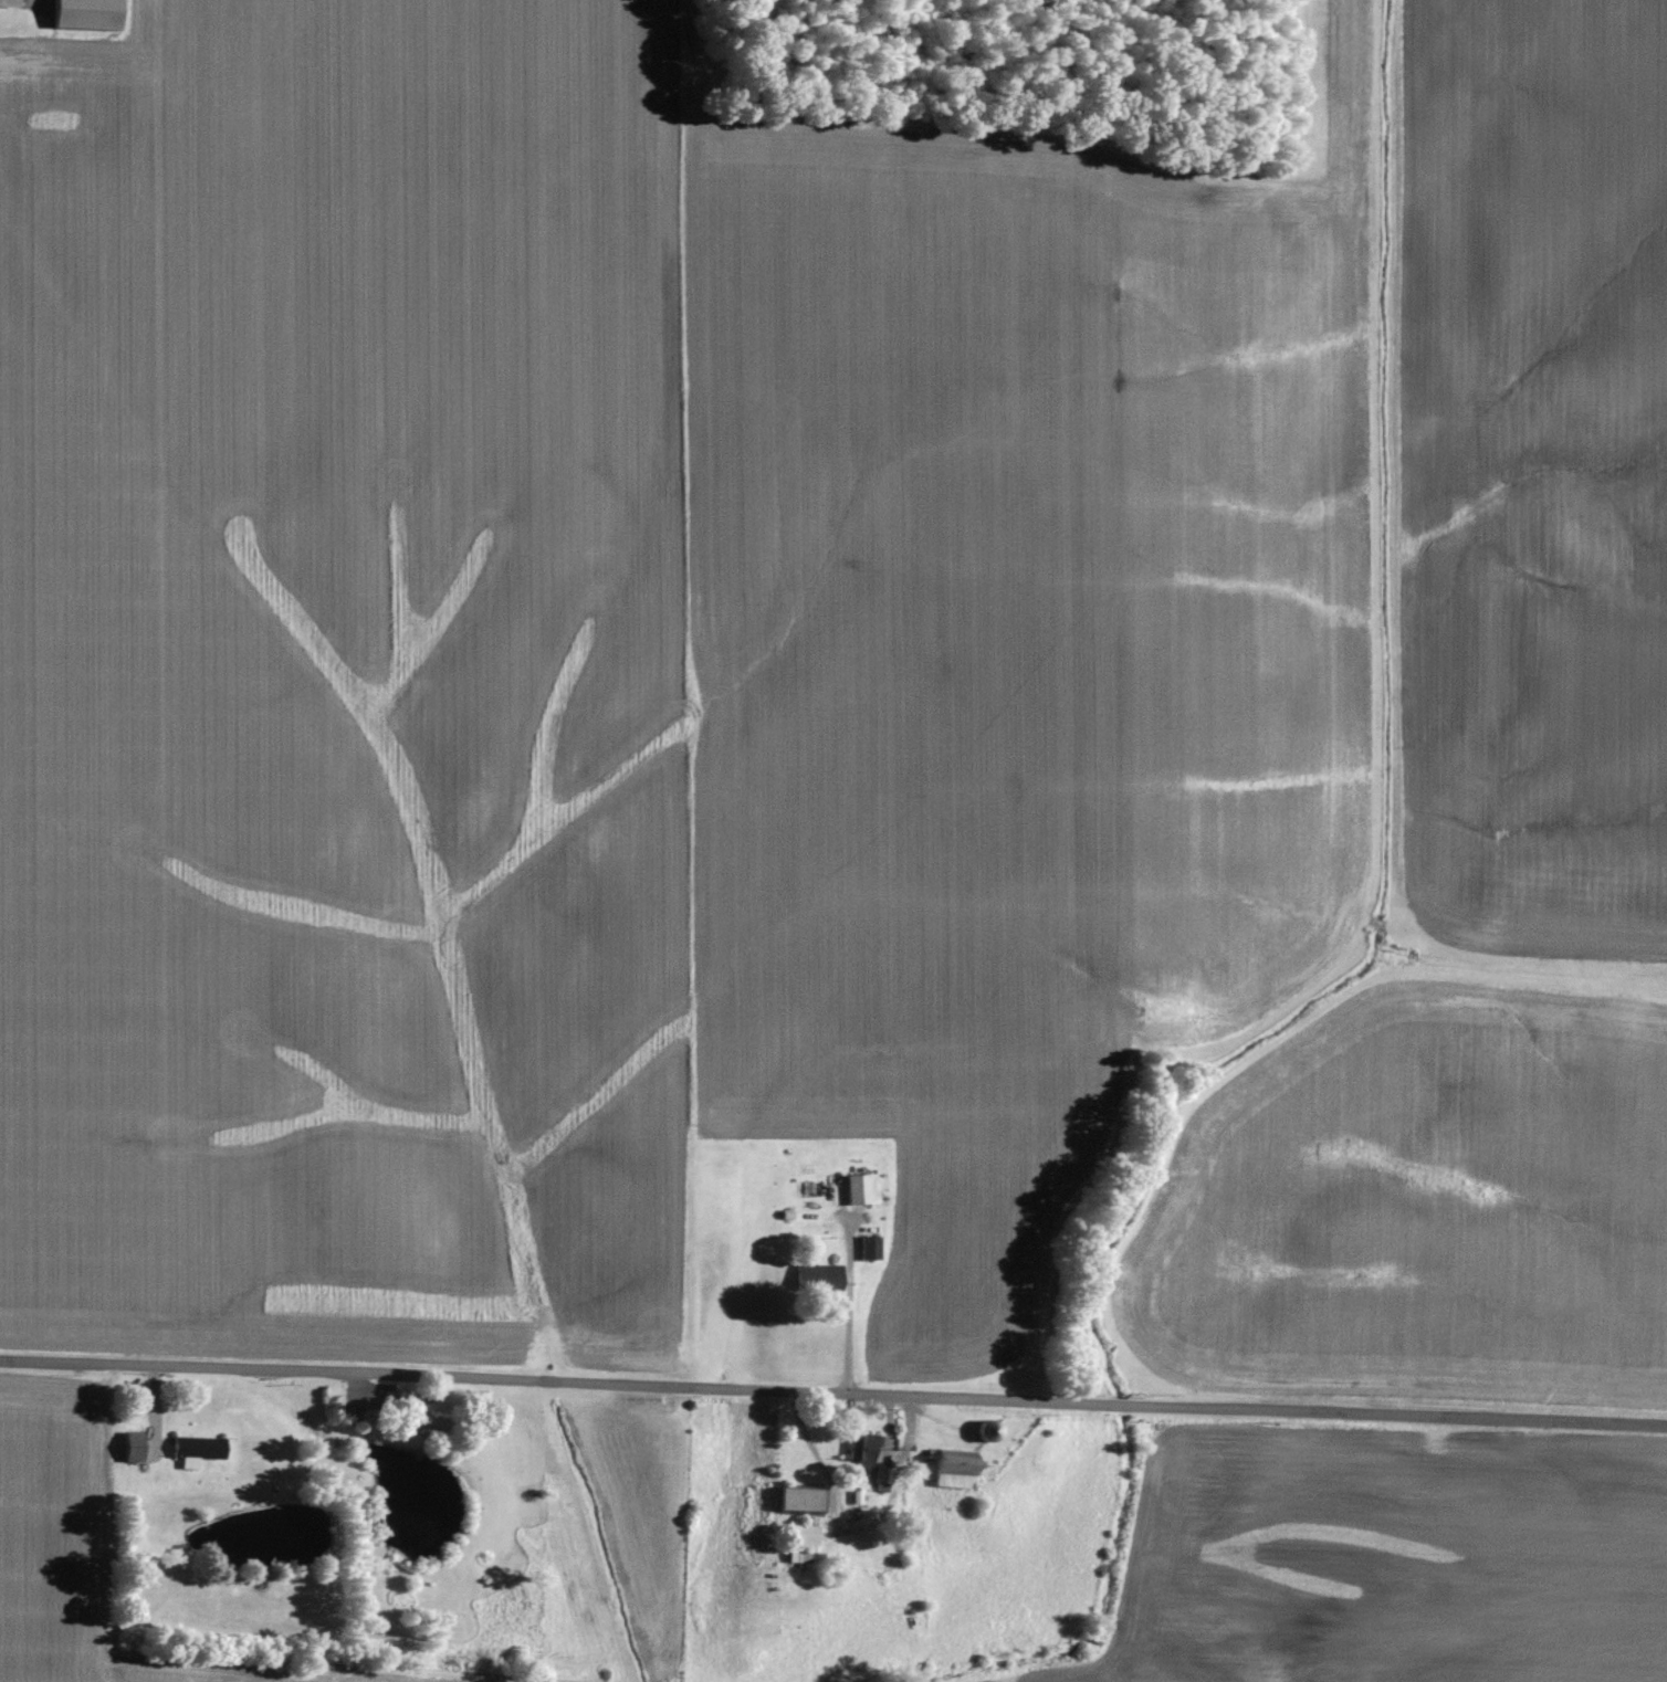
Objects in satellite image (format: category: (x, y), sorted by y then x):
building: (8, 3)
building: (85, 14)
building: (861, 1189)
building: (869, 1248)
building: (827, 1279)
road: (832, 1396)
building: (332, 1401)
building: (986, 1431)
building: (195, 1450)
building: (862, 1451)
building: (953, 1470)
building: (881, 1481)
building: (799, 1500)
building: (804, 1535)
crop: (84, 1553)

